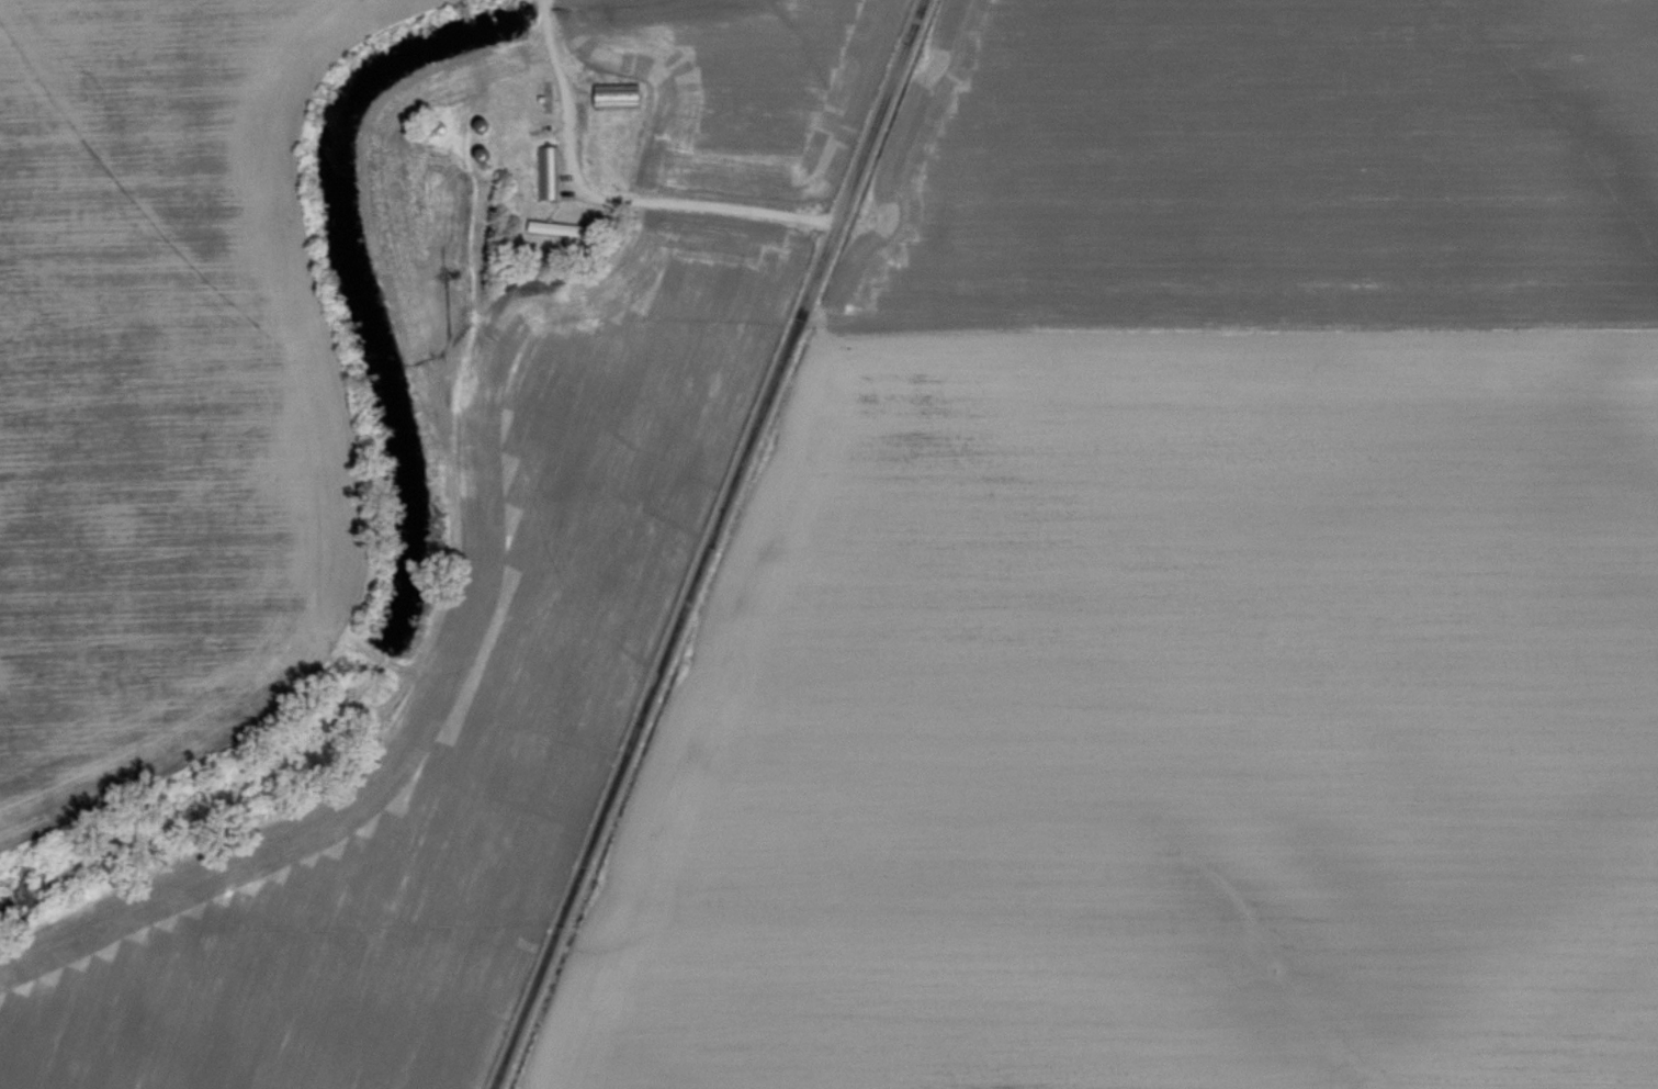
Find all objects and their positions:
building: (621, 94)
building: (486, 127)
building: (551, 172)
building: (560, 228)
road: (656, 544)

